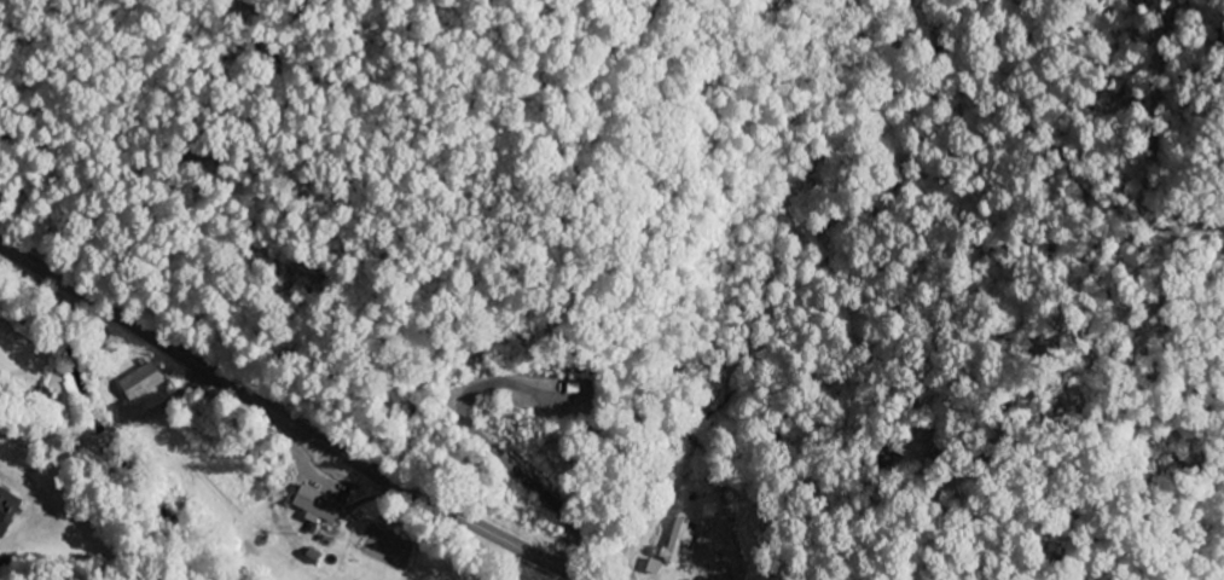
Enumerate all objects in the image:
building: (140, 383)
road: (122, 418)
road: (288, 420)
building: (317, 505)
building: (7, 509)
building: (677, 541)
building: (654, 568)

